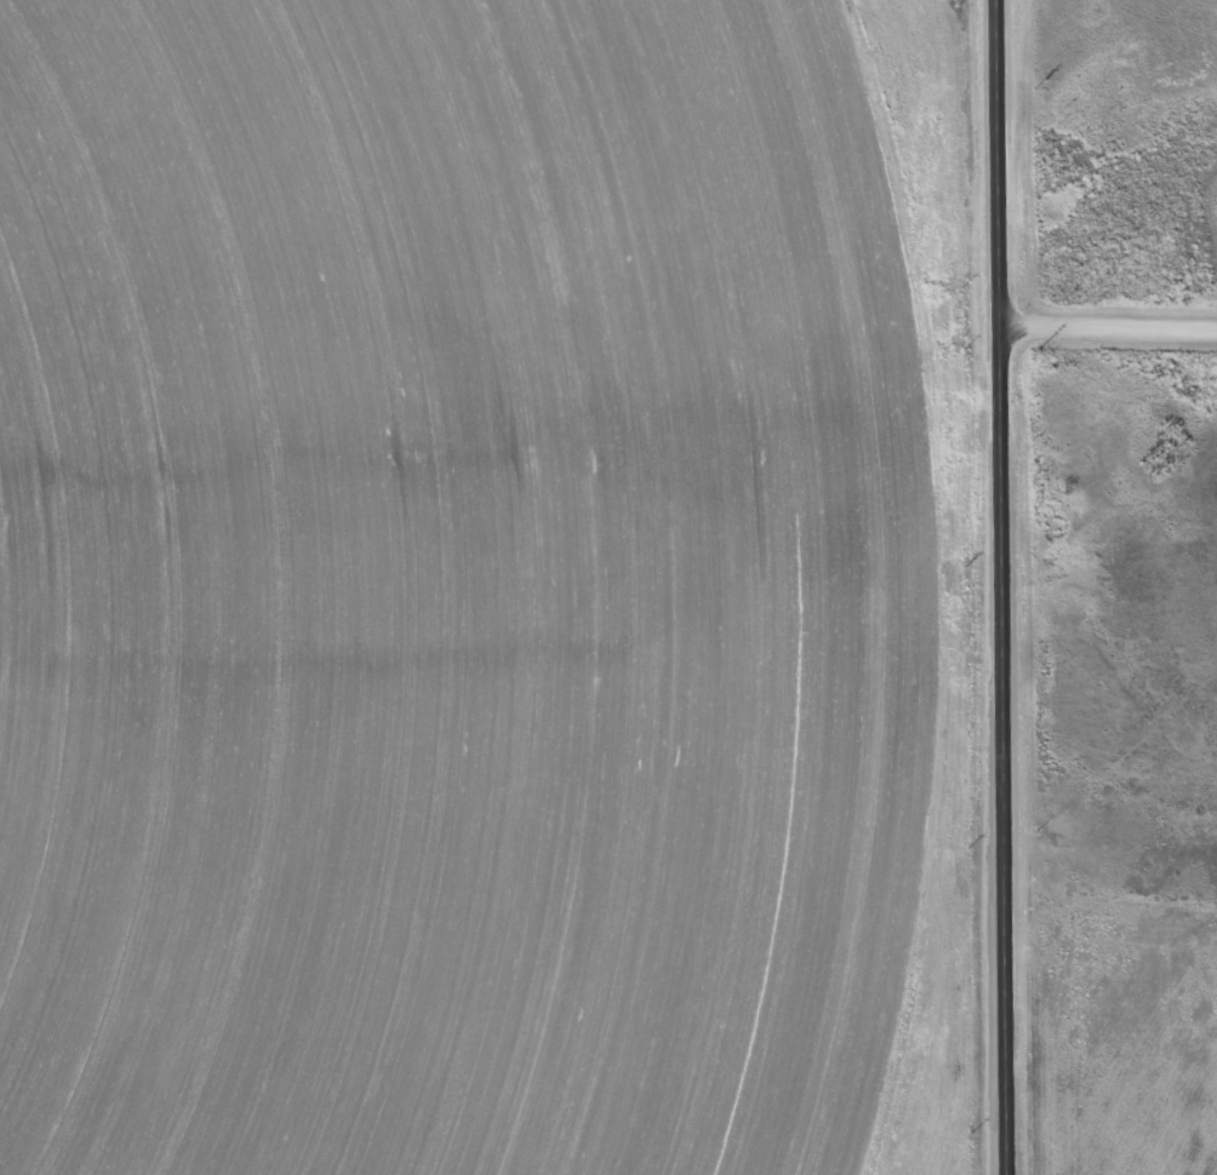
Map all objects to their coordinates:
road: (1107, 331)
road: (1000, 586)
road: (499, 620)

